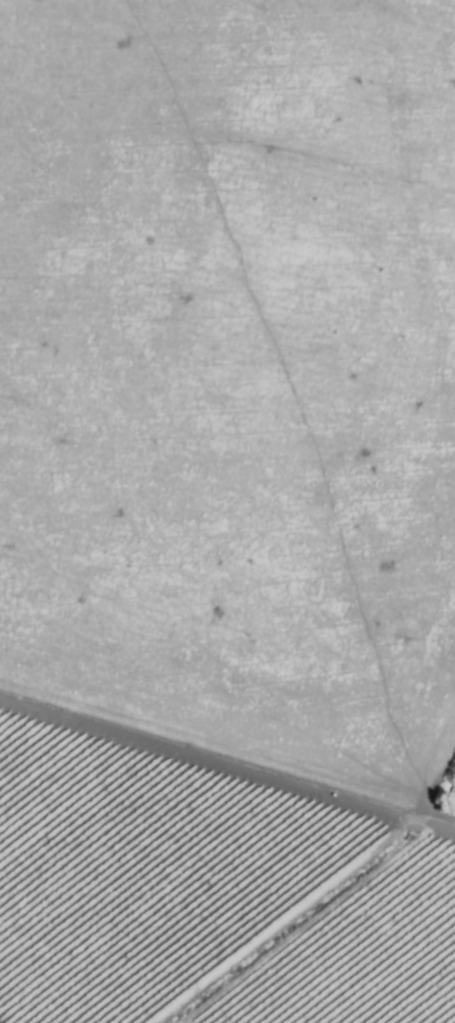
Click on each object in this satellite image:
crop: (227, 511)

